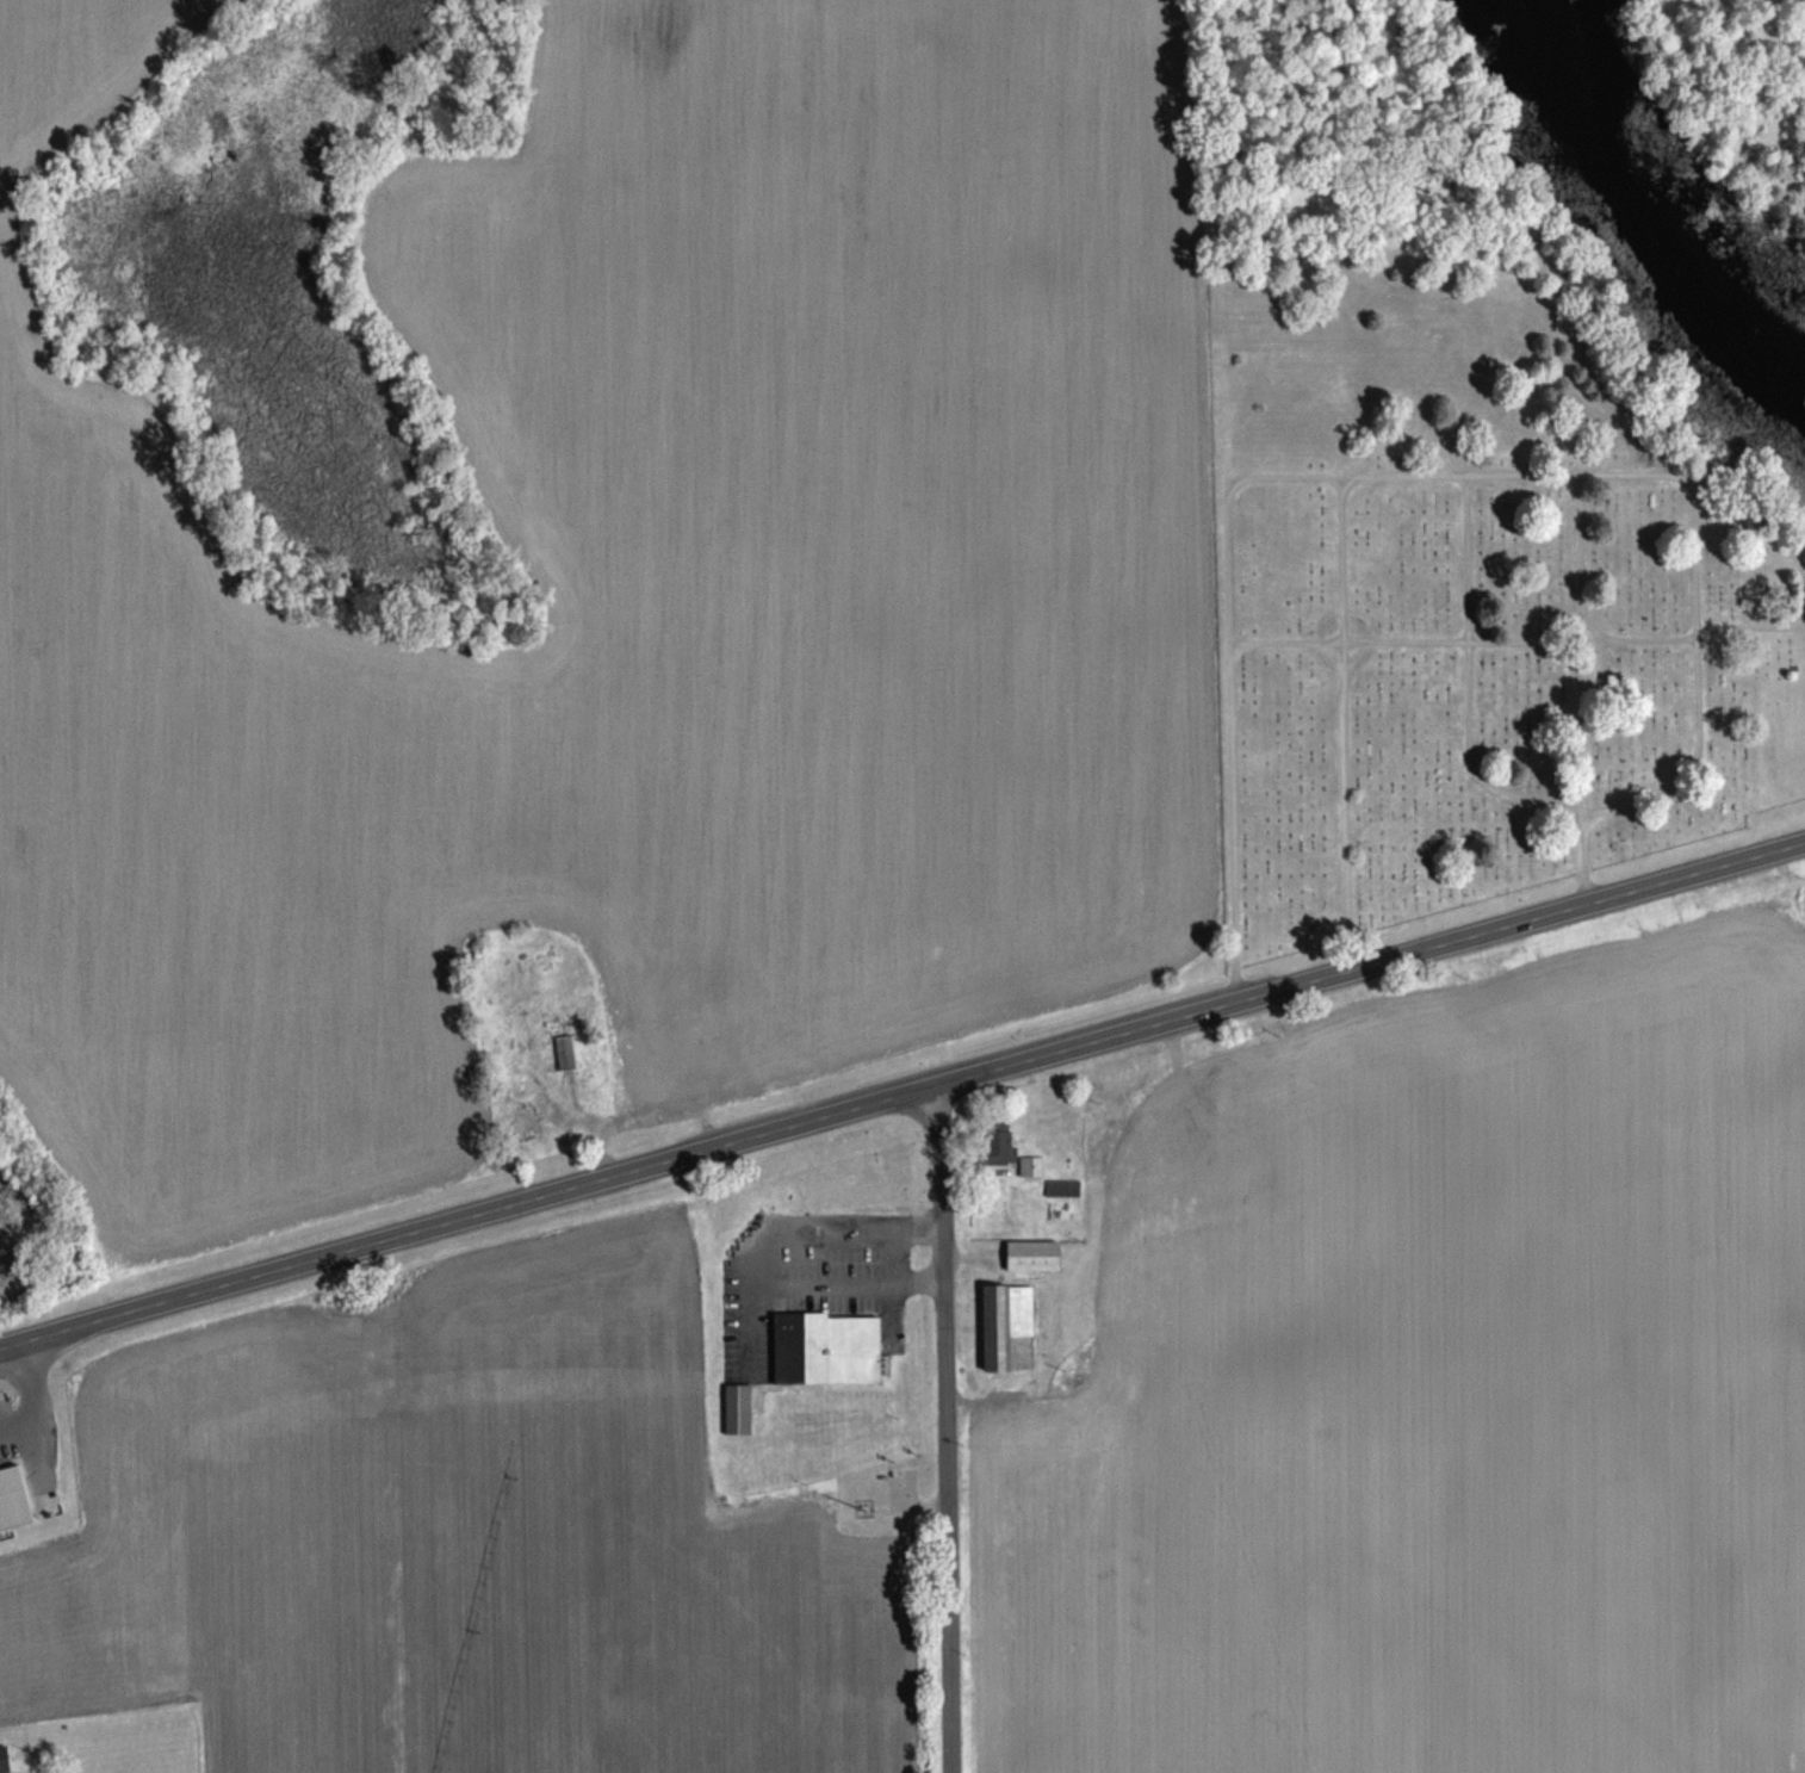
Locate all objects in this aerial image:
river: (1682, 215)
road: (1594, 399)
road: (1449, 471)
road: (1469, 476)
road: (1348, 482)
road: (1788, 541)
road: (1342, 562)
road: (1236, 637)
road: (1623, 637)
road: (1410, 638)
road: (1357, 653)
road: (1469, 678)
park: (1470, 683)
road: (1581, 721)
road: (1345, 782)
road: (1371, 961)
building: (566, 1052)
building: (1235, 1110)
building: (1178, 1136)
building: (995, 1146)
building: (1114, 1146)
building: (1031, 1166)
building: (1062, 1189)
road: (469, 1213)
building: (1031, 1257)
building: (1004, 1323)
building: (830, 1347)
road: (33, 1397)
parking lot: (4, 1402)
building: (737, 1409)
road: (938, 1427)
parking lot: (6, 1449)
building: (17, 1496)
building: (4, 1761)

